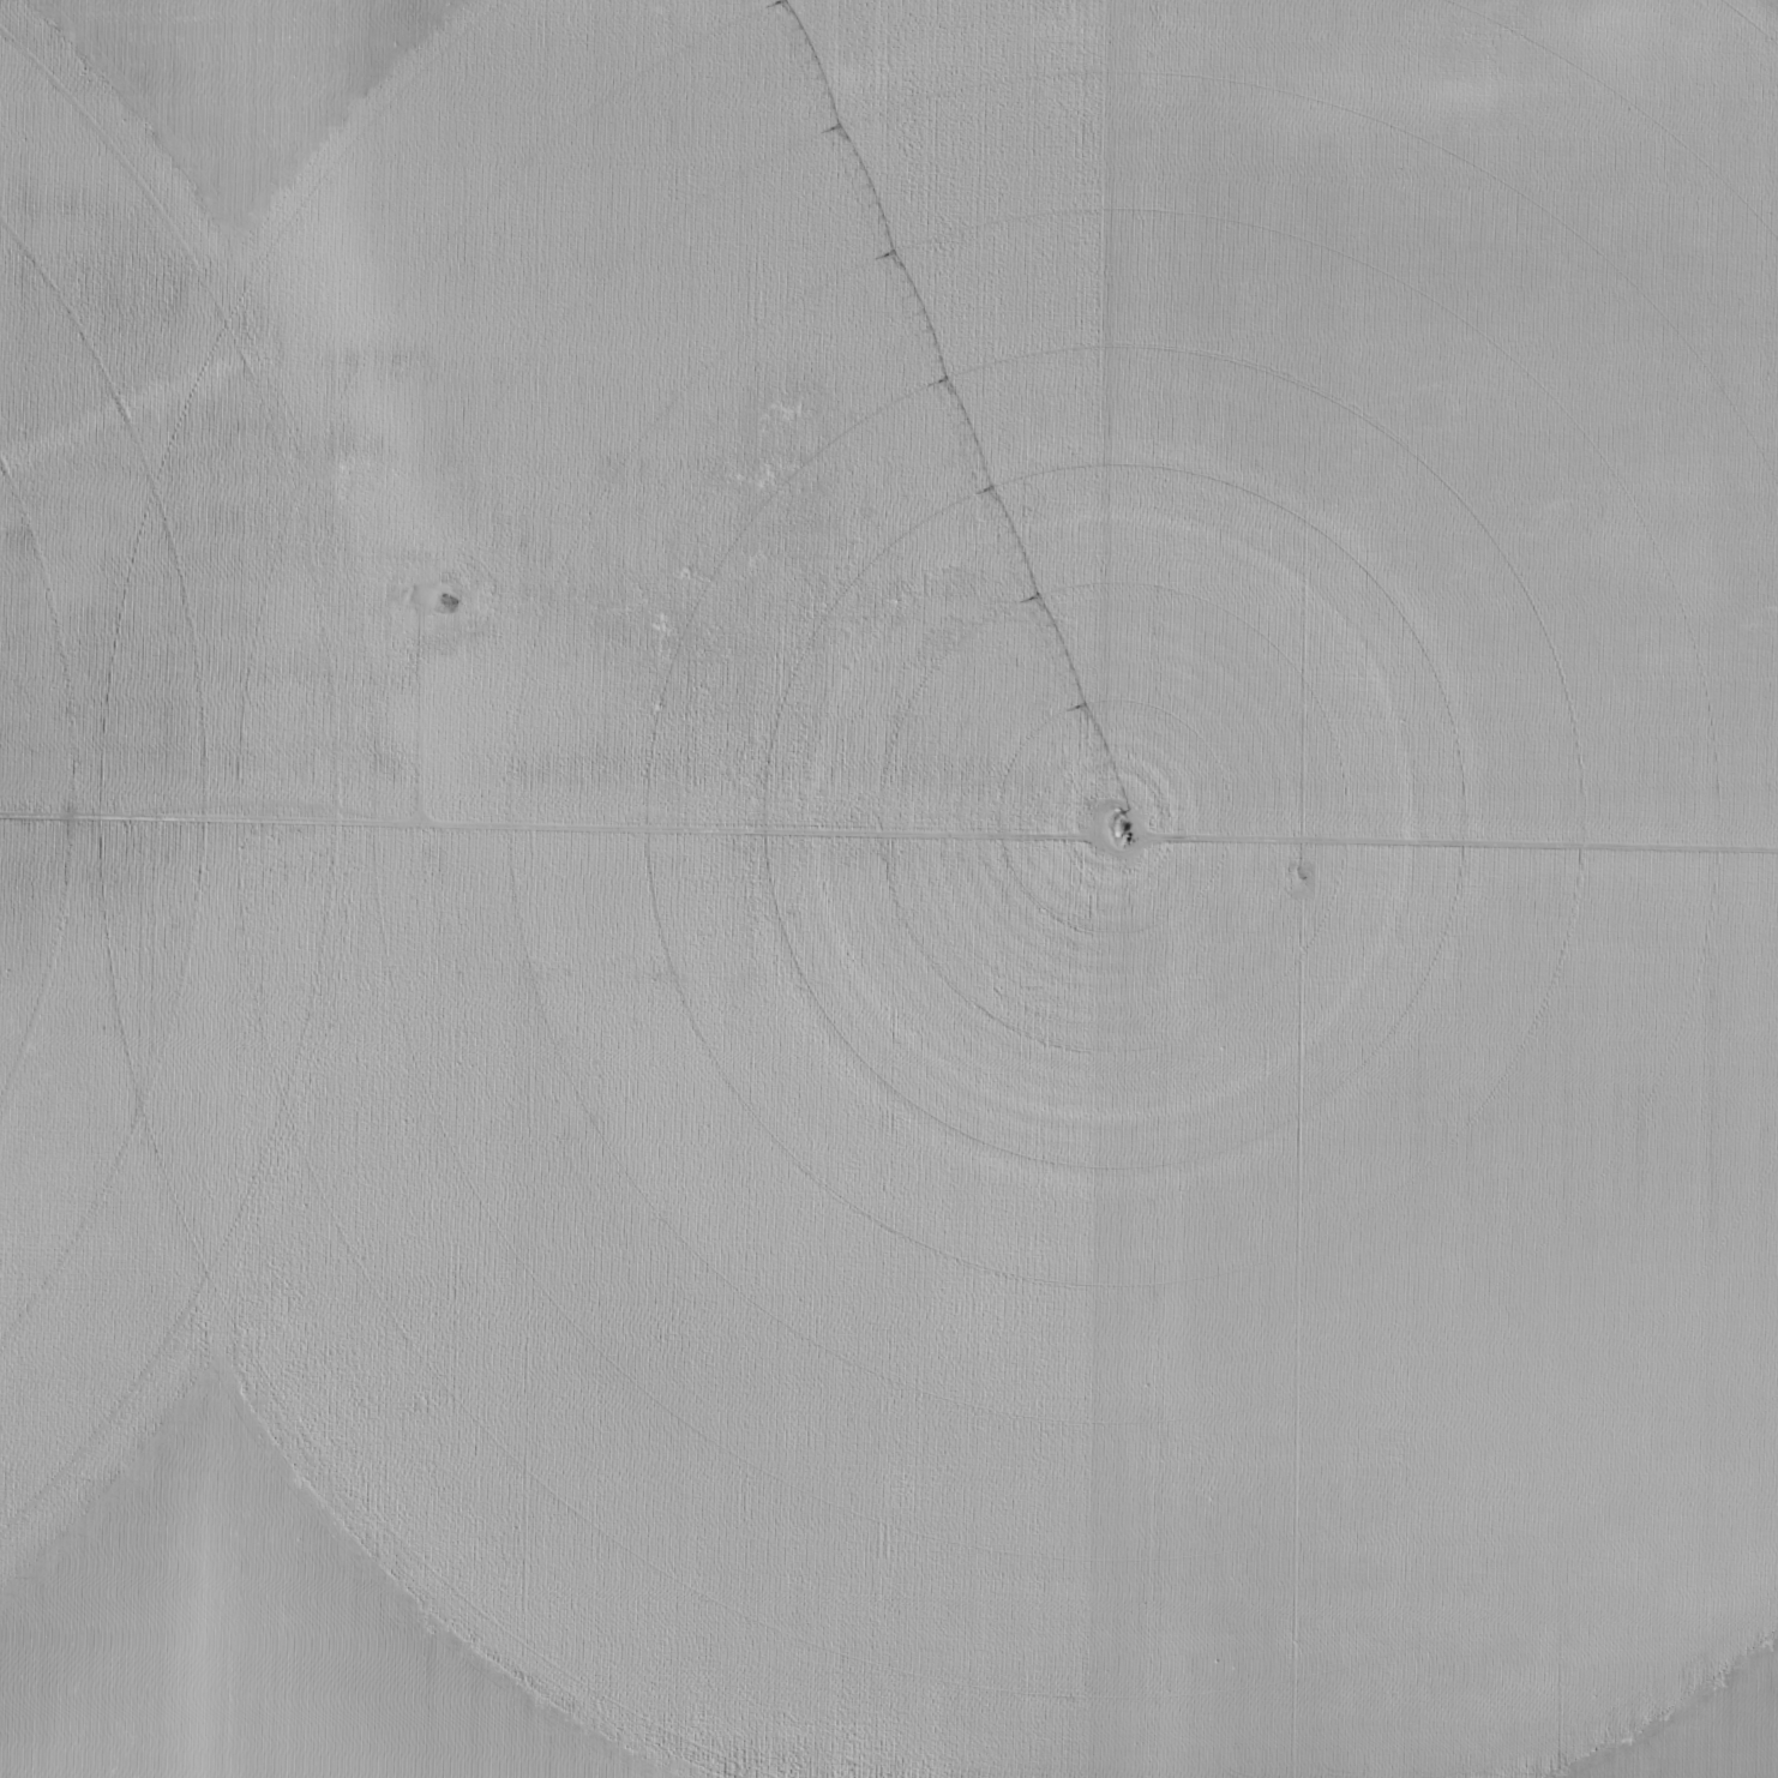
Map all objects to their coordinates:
road: (1387, 434)
road: (479, 637)
road: (888, 885)
road: (214, 889)
road: (1173, 889)

